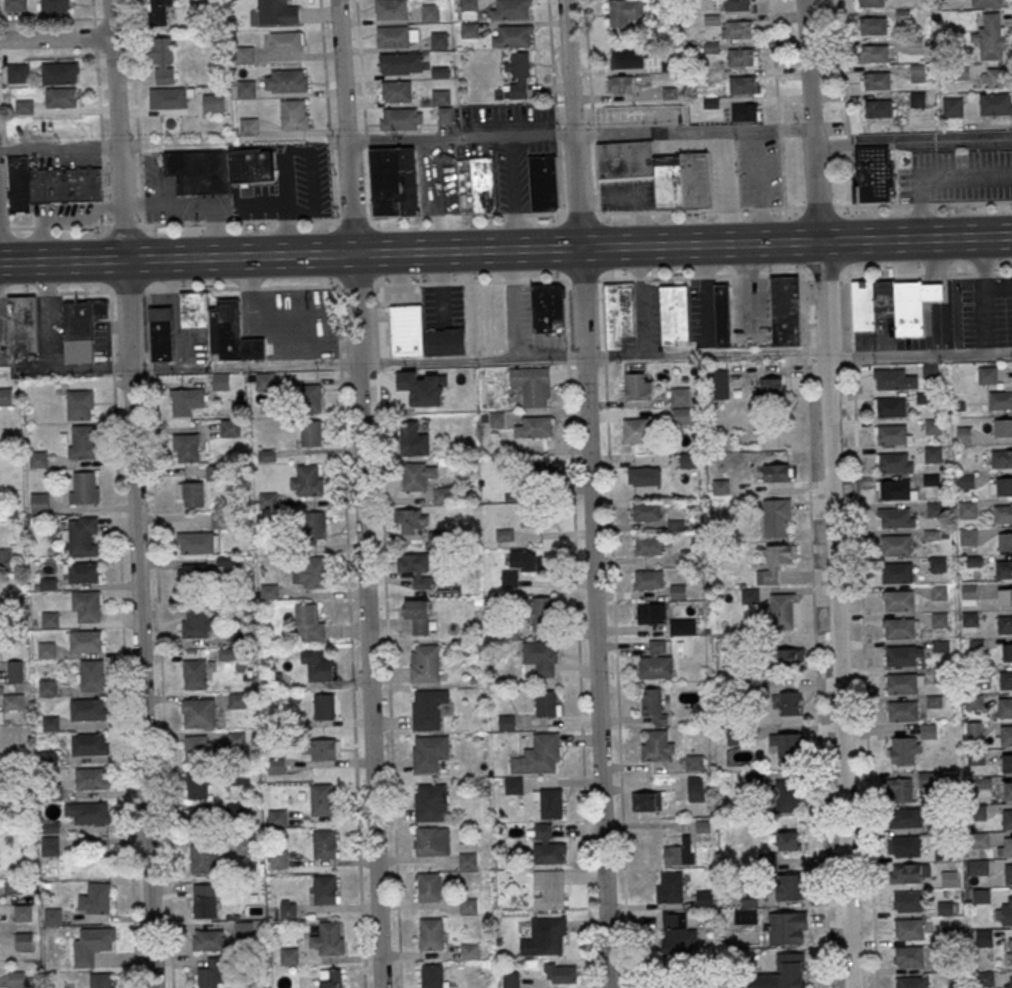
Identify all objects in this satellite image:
building: (869, 3)
building: (986, 3)
building: (468, 4)
building: (15, 5)
building: (55, 5)
building: (736, 5)
building: (390, 9)
building: (510, 10)
building: (158, 12)
building: (277, 12)
building: (624, 12)
building: (430, 13)
building: (904, 14)
road: (46, 20)
building: (872, 25)
building: (469, 29)
building: (739, 29)
building: (512, 35)
building: (393, 36)
building: (990, 36)
road: (55, 38)
building: (439, 40)
building: (286, 41)
building: (244, 54)
building: (873, 54)
road: (48, 55)
building: (629, 57)
building: (741, 57)
building: (163, 60)
building: (400, 63)
building: (18, 72)
building: (60, 72)
building: (918, 72)
building: (957, 72)
building: (518, 75)
building: (994, 78)
building: (286, 80)
building: (875, 80)
building: (620, 83)
building: (743, 85)
building: (246, 89)
building: (396, 90)
building: (60, 97)
building: (169, 98)
building: (213, 101)
road: (845, 103)
building: (995, 103)
road: (777, 104)
building: (443, 105)
building: (24, 106)
road: (554, 106)
building: (952, 107)
road: (363, 108)
road: (327, 109)
building: (879, 109)
building: (744, 111)
road: (99, 112)
road: (136, 112)
building: (294, 114)
building: (400, 118)
building: (249, 126)
road: (579, 135)
road: (912, 138)
parking lot: (507, 145)
road: (59, 148)
building: (199, 171)
building: (659, 171)
parking lot: (744, 171)
building: (874, 176)
parking lot: (958, 176)
parking lot: (437, 179)
building: (394, 181)
building: (543, 182)
building: (50, 184)
building: (482, 184)
road: (727, 187)
road: (757, 187)
road: (511, 193)
road: (438, 194)
parking lot: (178, 197)
road: (632, 198)
road: (193, 201)
road: (287, 207)
road: (698, 209)
road: (299, 220)
road: (519, 249)
road: (933, 262)
road: (13, 263)
road: (506, 281)
road: (935, 294)
road: (984, 294)
building: (872, 303)
building: (547, 307)
building: (914, 307)
building: (785, 310)
building: (617, 312)
parking lot: (701, 312)
building: (674, 313)
building: (722, 315)
parking lot: (644, 317)
building: (83, 318)
parking lot: (527, 323)
building: (22, 324)
building: (219, 327)
road: (936, 328)
building: (161, 334)
building: (422, 334)
road: (51, 352)
road: (706, 353)
road: (920, 353)
road: (470, 359)
road: (166, 366)
building: (930, 370)
building: (987, 375)
building: (895, 378)
building: (532, 384)
building: (718, 384)
building: (637, 386)
building: (769, 387)
building: (5, 396)
building: (680, 396)
building: (924, 396)
building: (312, 398)
building: (1000, 400)
building: (186, 401)
building: (79, 404)
building: (891, 407)
building: (681, 415)
building: (496, 419)
building: (933, 425)
building: (230, 427)
building: (535, 427)
building: (1002, 427)
building: (636, 430)
building: (312, 432)
building: (892, 434)
building: (963, 434)
building: (413, 439)
building: (82, 442)
building: (186, 447)
building: (933, 454)
building: (1001, 458)
building: (38, 459)
building: (688, 460)
building: (895, 462)
building: (777, 472)
building: (418, 475)
building: (544, 475)
building: (643, 476)
building: (965, 480)
building: (308, 481)
building: (1000, 485)
building: (720, 486)
building: (82, 489)
building: (894, 489)
road: (134, 493)
road: (362, 493)
road: (589, 493)
road: (833, 493)
building: (191, 494)
building: (512, 494)
building: (443, 495)
building: (267, 499)
building: (39, 503)
building: (968, 508)
building: (935, 509)
building: (646, 510)
building: (1002, 514)
building: (776, 516)
building: (531, 517)
building: (896, 517)
building: (411, 519)
building: (315, 525)
building: (82, 536)
building: (968, 536)
building: (1005, 541)
building: (197, 542)
building: (649, 545)
building: (897, 545)
building: (6, 559)
building: (775, 563)
building: (938, 563)
building: (521, 565)
building: (416, 569)
building: (1004, 569)
building: (192, 570)
building: (311, 571)
building: (83, 572)
building: (897, 572)
building: (648, 579)
building: (678, 591)
building: (969, 591)
building: (938, 592)
building: (1005, 597)
building: (750, 598)
building: (899, 600)
building: (87, 605)
building: (782, 610)
building: (542, 612)
building: (651, 613)
building: (418, 615)
building: (969, 618)
building: (939, 619)
building: (196, 622)
building: (309, 623)
building: (1004, 623)
building: (682, 626)
building: (900, 628)
road: (814, 630)
road: (578, 633)
road: (615, 633)
road: (862, 633)
road: (351, 636)
road: (387, 636)
road: (123, 638)
road: (159, 639)
building: (86, 641)
building: (941, 645)
building: (1007, 652)
building: (901, 655)
building: (542, 657)
building: (788, 657)
building: (657, 660)
building: (425, 663)
building: (317, 665)
building: (15, 670)
building: (195, 674)
building: (93, 675)
building: (1006, 679)
building: (903, 683)
building: (48, 687)
building: (237, 700)
building: (11, 701)
building: (973, 701)
building: (789, 702)
building: (548, 703)
building: (653, 703)
building: (325, 706)
building: (1005, 707)
building: (88, 709)
building: (427, 709)
building: (903, 710)
building: (198, 712)
building: (50, 723)
building: (928, 730)
building: (974, 730)
building: (736, 735)
building: (1006, 735)
building: (237, 739)
building: (89, 744)
building: (657, 746)
building: (788, 747)
building: (198, 749)
building: (319, 749)
building: (904, 750)
building: (429, 752)
building: (538, 754)
building: (976, 757)
building: (694, 763)
building: (1007, 763)
building: (275, 765)
building: (92, 778)
building: (927, 779)
building: (514, 784)
building: (197, 785)
building: (695, 788)
building: (901, 789)
building: (1008, 790)
building: (786, 795)
building: (321, 799)
building: (646, 801)
building: (430, 802)
building: (551, 803)
building: (89, 812)
building: (978, 812)
building: (200, 817)
building: (906, 817)
building: (277, 818)
building: (1008, 819)
building: (979, 839)
building: (432, 840)
building: (325, 844)
building: (546, 844)
building: (906, 845)
building: (246, 846)
building: (1007, 846)
building: (50, 848)
building: (680, 852)
building: (204, 858)
building: (279, 859)
building: (467, 859)
building: (980, 867)
building: (908, 873)
building: (1008, 873)
building: (949, 878)
building: (14, 885)
building: (428, 886)
building: (670, 886)
building: (790, 886)
building: (550, 887)
building: (324, 889)
building: (981, 895)
building: (705, 898)
building: (749, 898)
building: (95, 899)
building: (907, 900)
building: (468, 905)
building: (204, 907)
building: (288, 909)
building: (1006, 910)
building: (23, 912)
building: (52, 916)
building: (787, 928)
building: (908, 928)
building: (678, 932)
building: (431, 933)
building: (549, 933)
building: (984, 937)
building: (208, 939)
building: (328, 939)
building: (24, 941)
building: (92, 944)
building: (470, 951)
building: (1010, 951)
building: (289, 955)
building: (909, 956)
building: (789, 971)
building: (211, 973)
building: (561, 973)
building: (433, 975)
building: (16, 977)
building: (985, 977)
building: (330, 978)
building: (100, 980)
building: (510, 980)
building: (1010, 981)
building: (911, 982)

